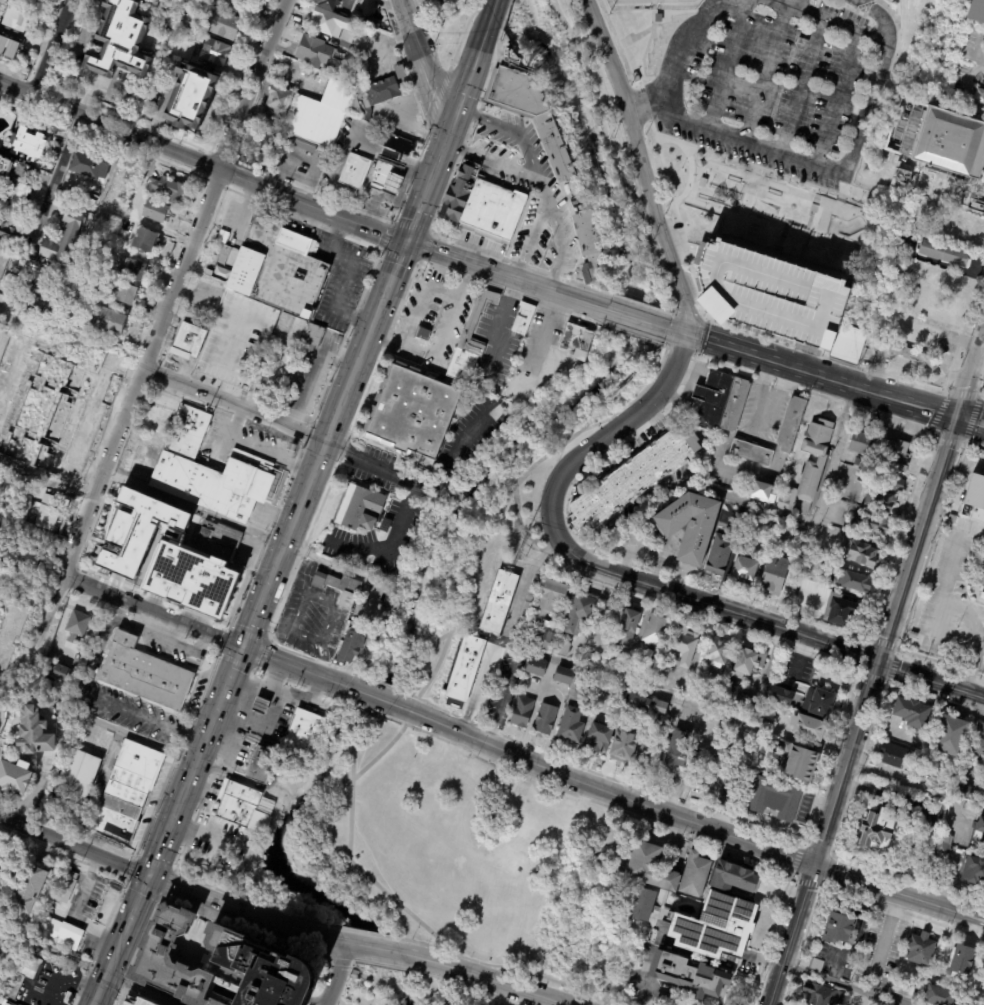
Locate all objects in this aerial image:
building: (445, 1)
road: (481, 2)
building: (327, 4)
building: (236, 5)
road: (776, 5)
road: (557, 6)
building: (975, 7)
road: (490, 14)
building: (366, 15)
building: (659, 18)
building: (183, 19)
road: (504, 19)
building: (14, 22)
building: (223, 24)
building: (331, 24)
road: (853, 29)
road: (411, 30)
road: (461, 34)
building: (120, 41)
building: (9, 48)
road: (54, 48)
road: (680, 50)
building: (214, 52)
building: (314, 52)
road: (729, 63)
road: (803, 64)
road: (760, 71)
building: (400, 72)
building: (636, 77)
road: (968, 79)
parking lot: (776, 80)
road: (468, 82)
road: (254, 84)
road: (836, 96)
building: (980, 96)
building: (191, 97)
road: (436, 98)
road: (971, 105)
building: (276, 107)
building: (335, 109)
road: (641, 110)
park: (777, 112)
building: (530, 113)
road: (631, 116)
road: (642, 119)
road: (111, 124)
road: (470, 132)
road: (510, 133)
traffic signals: (450, 136)
building: (936, 138)
building: (259, 145)
building: (396, 145)
building: (305, 146)
road: (493, 160)
building: (21, 166)
building: (87, 166)
road: (837, 168)
road: (58, 169)
building: (355, 172)
road: (432, 176)
building: (903, 176)
building: (385, 180)
road: (410, 180)
building: (703, 183)
building: (925, 183)
road: (542, 185)
building: (166, 189)
road: (314, 204)
building: (483, 206)
building: (155, 211)
park: (768, 211)
road: (411, 227)
road: (410, 229)
road: (434, 229)
building: (969, 230)
road: (435, 233)
building: (11, 235)
road: (386, 236)
road: (530, 236)
building: (62, 239)
building: (146, 240)
road: (358, 241)
traffic signals: (405, 241)
road: (560, 241)
road: (426, 248)
building: (590, 248)
road: (380, 249)
road: (381, 250)
building: (944, 253)
road: (399, 258)
road: (460, 260)
road: (519, 264)
building: (279, 269)
building: (132, 270)
building: (208, 273)
road: (391, 274)
road: (346, 275)
road: (688, 279)
building: (90, 280)
building: (943, 281)
road: (680, 285)
building: (32, 289)
building: (126, 294)
building: (769, 294)
parking lot: (769, 294)
road: (192, 295)
road: (420, 295)
road: (561, 295)
road: (540, 303)
road: (642, 305)
building: (938, 309)
road: (12, 314)
road: (674, 315)
building: (524, 318)
road: (637, 320)
building: (104, 322)
building: (879, 325)
road: (963, 328)
building: (289, 331)
building: (422, 333)
building: (471, 333)
building: (908, 333)
road: (632, 335)
road: (344, 336)
traffic signals: (685, 336)
building: (313, 338)
building: (578, 340)
building: (188, 342)
building: (848, 343)
road: (441, 344)
road: (821, 355)
building: (915, 357)
road: (812, 376)
road: (981, 386)
building: (496, 389)
road: (367, 392)
road: (661, 392)
road: (814, 393)
road: (962, 394)
road: (983, 394)
building: (713, 398)
road: (234, 403)
road: (128, 406)
road: (936, 409)
building: (410, 413)
road: (971, 417)
road: (972, 418)
building: (156, 419)
traffic signals: (959, 419)
building: (15, 420)
road: (235, 420)
building: (789, 423)
road: (971, 428)
road: (348, 434)
road: (950, 441)
building: (862, 442)
road: (973, 444)
road: (322, 445)
building: (749, 452)
road: (270, 453)
building: (891, 454)
building: (823, 458)
building: (857, 462)
road: (553, 464)
road: (378, 467)
building: (868, 471)
road: (530, 472)
road: (563, 475)
building: (633, 479)
building: (216, 482)
building: (896, 483)
building: (762, 492)
building: (976, 497)
building: (787, 499)
building: (880, 499)
road: (932, 502)
road: (817, 508)
building: (356, 510)
building: (46, 511)
road: (633, 515)
building: (756, 515)
building: (953, 518)
building: (871, 524)
building: (691, 526)
road: (522, 527)
building: (136, 531)
road: (896, 535)
road: (263, 536)
building: (218, 541)
road: (931, 546)
building: (863, 554)
building: (719, 555)
building: (28, 560)
building: (745, 567)
building: (775, 576)
road: (290, 578)
building: (855, 581)
building: (209, 582)
road: (522, 584)
building: (339, 588)
parking lot: (950, 595)
building: (981, 595)
road: (155, 596)
building: (552, 598)
building: (499, 603)
building: (393, 604)
road: (715, 607)
building: (841, 611)
road: (954, 612)
building: (581, 613)
road: (253, 614)
building: (554, 619)
road: (125, 622)
building: (77, 625)
building: (629, 626)
building: (8, 629)
road: (203, 630)
building: (656, 630)
building: (914, 636)
building: (546, 638)
road: (868, 638)
road: (883, 643)
road: (178, 644)
traffic signals: (240, 645)
building: (685, 645)
building: (350, 647)
road: (897, 648)
building: (563, 649)
building: (76, 650)
road: (897, 651)
road: (212, 652)
building: (717, 652)
road: (859, 656)
building: (749, 662)
road: (940, 663)
building: (464, 668)
building: (537, 668)
road: (891, 668)
building: (60, 672)
building: (144, 673)
road: (434, 675)
building: (564, 676)
road: (870, 676)
road: (227, 678)
building: (659, 680)
road: (931, 681)
road: (296, 683)
road: (378, 683)
road: (479, 685)
building: (610, 689)
building: (696, 694)
road: (369, 695)
road: (506, 696)
building: (782, 696)
road: (934, 698)
road: (1, 699)
road: (671, 699)
road: (102, 701)
road: (1, 703)
building: (820, 703)
building: (639, 704)
building: (746, 704)
building: (260, 707)
road: (360, 708)
building: (660, 708)
building: (522, 712)
building: (911, 717)
building: (545, 719)
building: (572, 725)
building: (765, 726)
building: (304, 727)
building: (810, 728)
building: (34, 732)
building: (951, 737)
building: (599, 738)
building: (978, 745)
building: (624, 746)
road: (385, 749)
road: (175, 753)
building: (651, 754)
building: (678, 754)
road: (828, 754)
building: (893, 754)
road: (193, 761)
building: (256, 763)
building: (802, 765)
road: (214, 770)
building: (77, 776)
road: (606, 776)
building: (15, 778)
building: (703, 779)
road: (600, 790)
building: (122, 791)
road: (915, 791)
building: (962, 791)
road: (585, 799)
building: (777, 800)
building: (236, 803)
building: (981, 826)
building: (878, 833)
road: (206, 834)
road: (824, 834)
road: (161, 843)
building: (982, 843)
building: (944, 844)
road: (819, 845)
building: (1, 853)
road: (136, 855)
park: (465, 855)
road: (794, 858)
road: (154, 863)
building: (651, 867)
road: (129, 868)
building: (976, 873)
building: (695, 874)
road: (906, 874)
traffic signals: (149, 875)
building: (735, 877)
road: (792, 879)
road: (807, 882)
road: (167, 884)
road: (171, 884)
building: (67, 888)
road: (144, 888)
building: (28, 889)
road: (887, 890)
road: (383, 892)
road: (138, 898)
road: (164, 898)
road: (253, 903)
building: (644, 905)
road: (898, 910)
road: (972, 913)
road: (971, 921)
road: (981, 922)
road: (252, 928)
building: (717, 928)
road: (104, 929)
building: (841, 929)
building: (56, 932)
road: (978, 932)
road: (369, 933)
road: (768, 937)
road: (980, 937)
building: (1, 942)
road: (882, 945)
road: (137, 946)
road: (395, 946)
road: (53, 949)
building: (922, 949)
road: (380, 950)
road: (386, 955)
building: (963, 961)
road: (110, 963)
road: (348, 963)
building: (216, 964)
building: (817, 965)
road: (384, 966)
road: (507, 966)
road: (470, 968)
building: (24, 974)
road: (337, 974)
building: (690, 975)
road: (410, 978)
road: (441, 979)
road: (482, 982)
road: (377, 983)
road: (321, 984)
road: (650, 984)
road: (978, 986)
road: (835, 987)
road: (143, 988)
building: (905, 990)
road: (471, 991)
park: (445, 992)
building: (823, 995)
building: (941, 996)
building: (136, 1000)
parking lot: (136, 1000)
road: (502, 1000)
building: (7, 1002)
road: (335, 1002)
road: (685, 1003)
road: (337, 1004)

